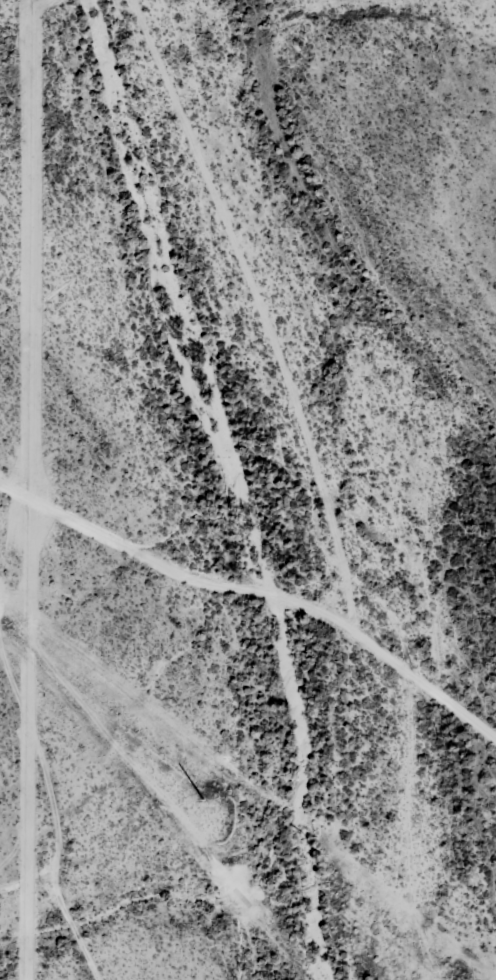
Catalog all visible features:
road: (256, 633)
power tower: (202, 796)
road: (7, 874)
road: (33, 883)

